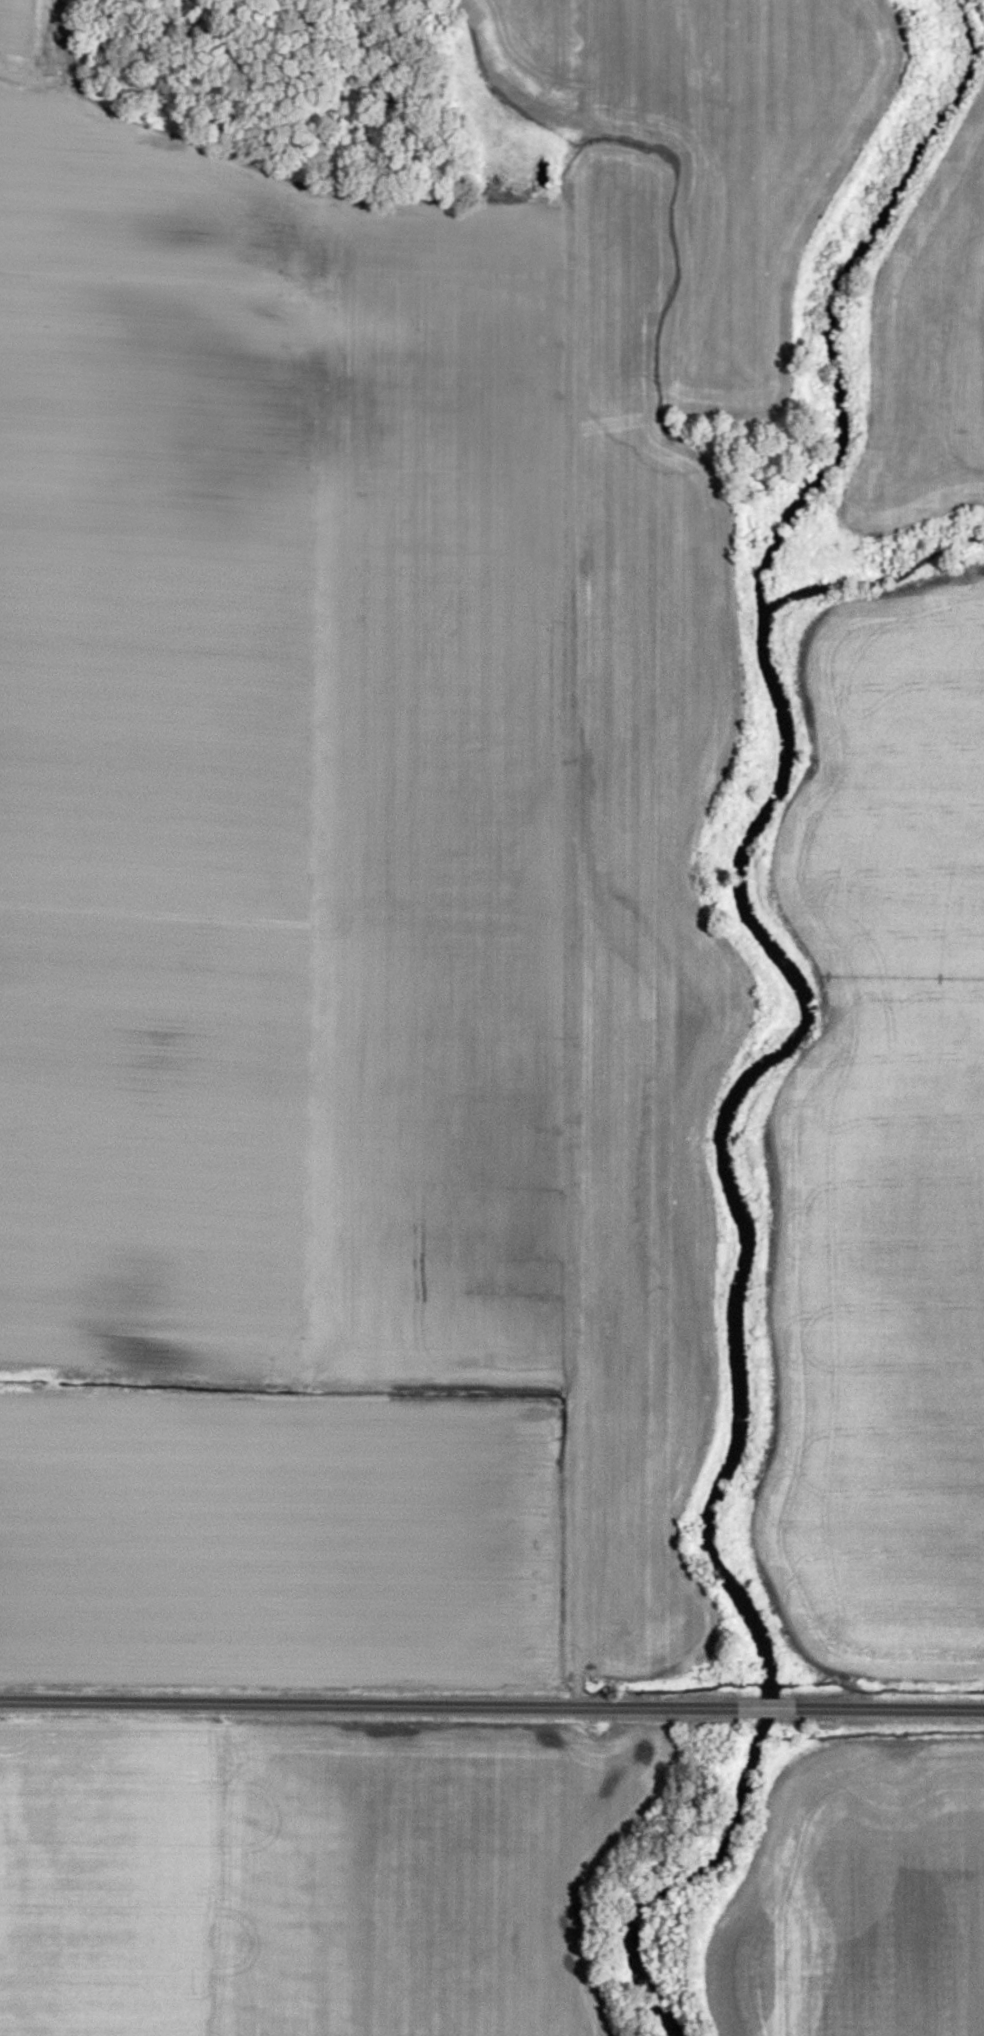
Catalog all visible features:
road: (491, 1708)

